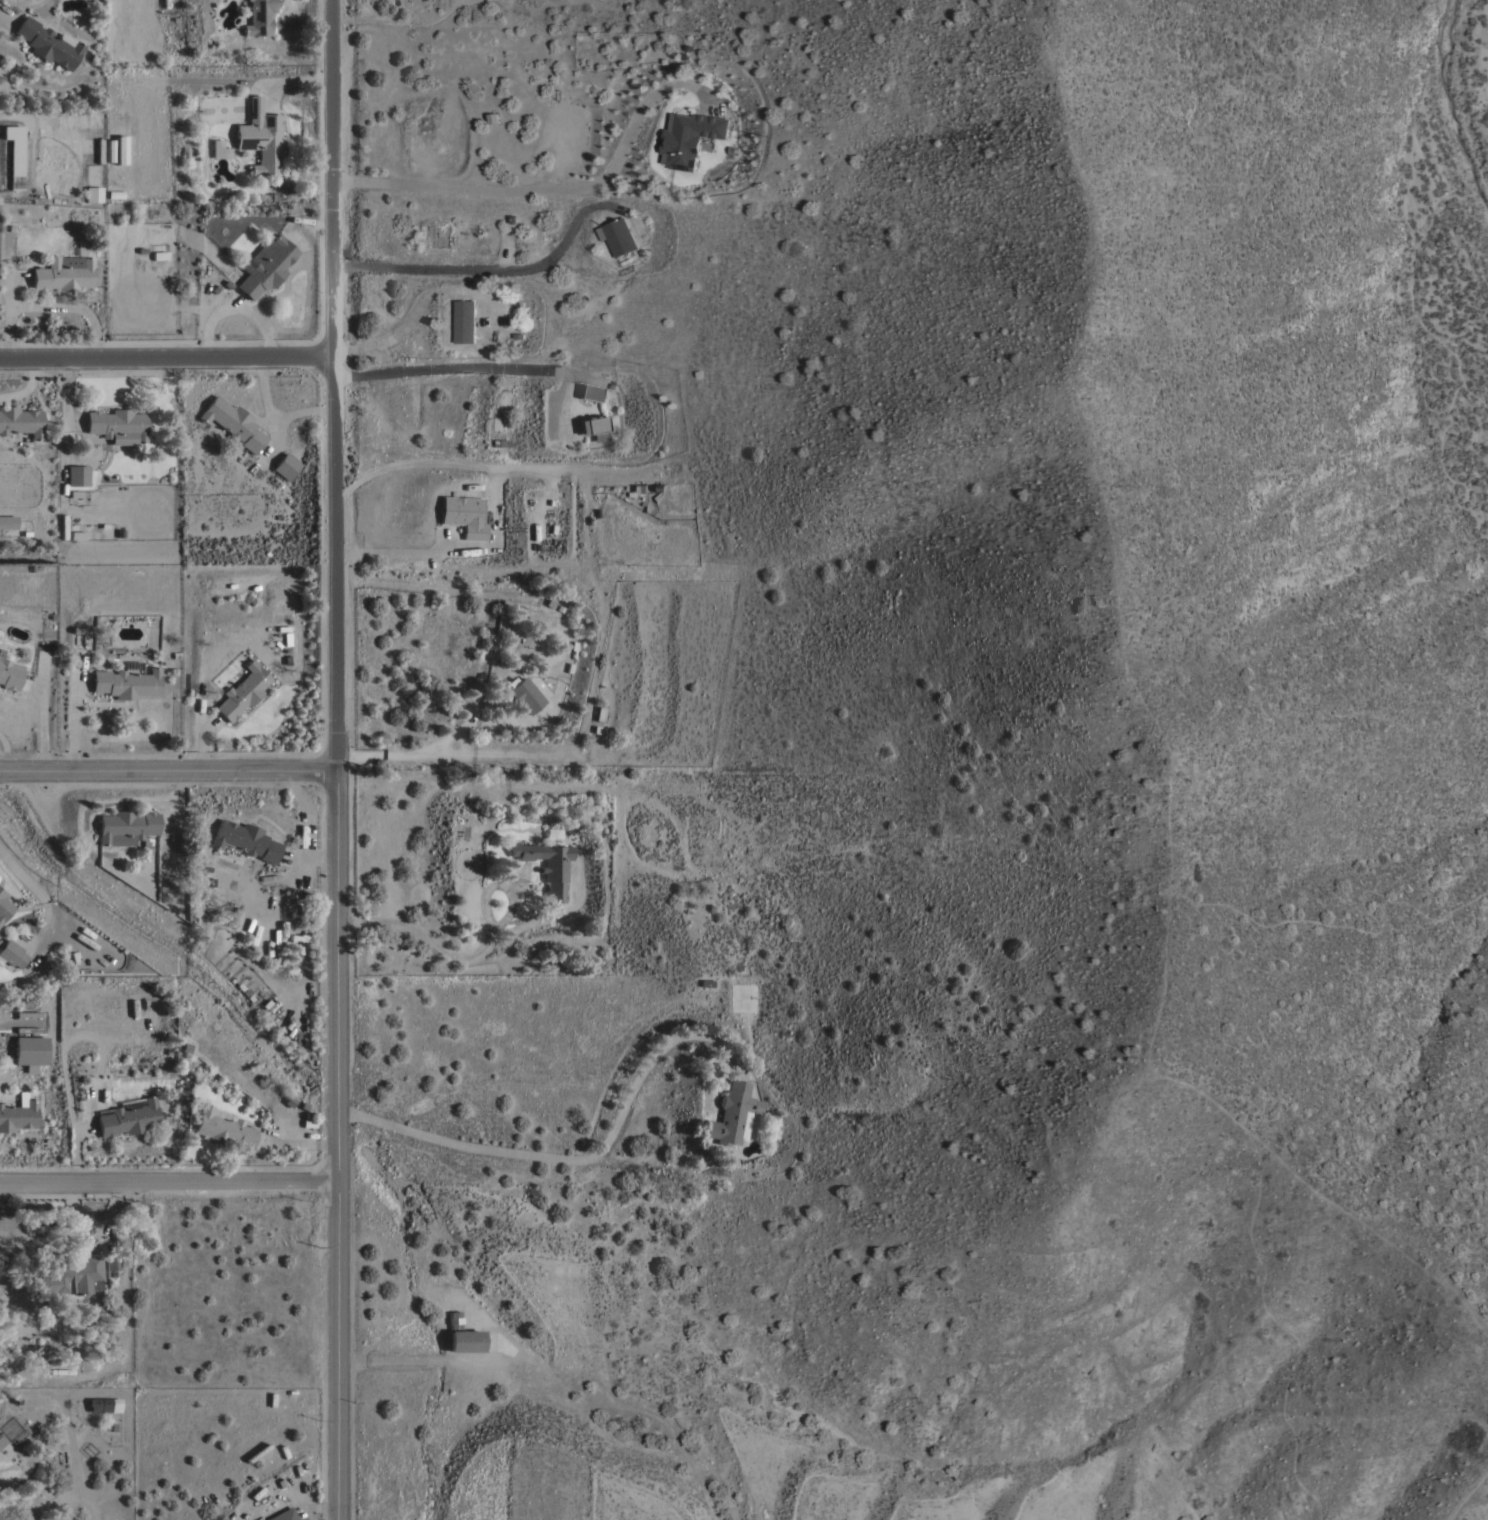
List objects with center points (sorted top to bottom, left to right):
road: (6, 17)
building: (259, 17)
building: (47, 43)
building: (690, 136)
building: (261, 138)
building: (219, 149)
building: (114, 151)
building: (12, 155)
road: (551, 186)
building: (93, 194)
building: (618, 235)
building: (263, 266)
road: (491, 269)
building: (66, 270)
road: (234, 306)
road: (72, 307)
road: (9, 312)
building: (465, 320)
road: (263, 357)
road: (443, 370)
road: (27, 388)
building: (590, 392)
road: (67, 404)
building: (20, 421)
building: (117, 423)
building: (233, 423)
road: (272, 426)
building: (594, 426)
building: (499, 442)
building: (286, 466)
building: (77, 475)
building: (464, 515)
building: (8, 521)
road: (417, 552)
building: (10, 673)
building: (126, 683)
road: (35, 687)
building: (242, 691)
building: (525, 695)
road: (41, 713)
building: (599, 713)
road: (76, 714)
road: (428, 748)
road: (204, 749)
road: (5, 752)
road: (336, 759)
road: (168, 769)
road: (301, 819)
building: (126, 827)
building: (553, 832)
building: (244, 840)
road: (318, 856)
building: (547, 865)
road: (38, 894)
building: (4, 907)
road: (477, 952)
building: (12, 953)
building: (30, 1052)
building: (18, 1113)
building: (730, 1114)
building: (129, 1118)
building: (223, 1127)
road: (574, 1161)
road: (168, 1181)
building: (112, 1263)
building: (72, 1275)
building: (453, 1320)
building: (465, 1340)
road: (419, 1359)
building: (104, 1404)
building: (1, 1441)
building: (283, 1515)
building: (301, 1519)

